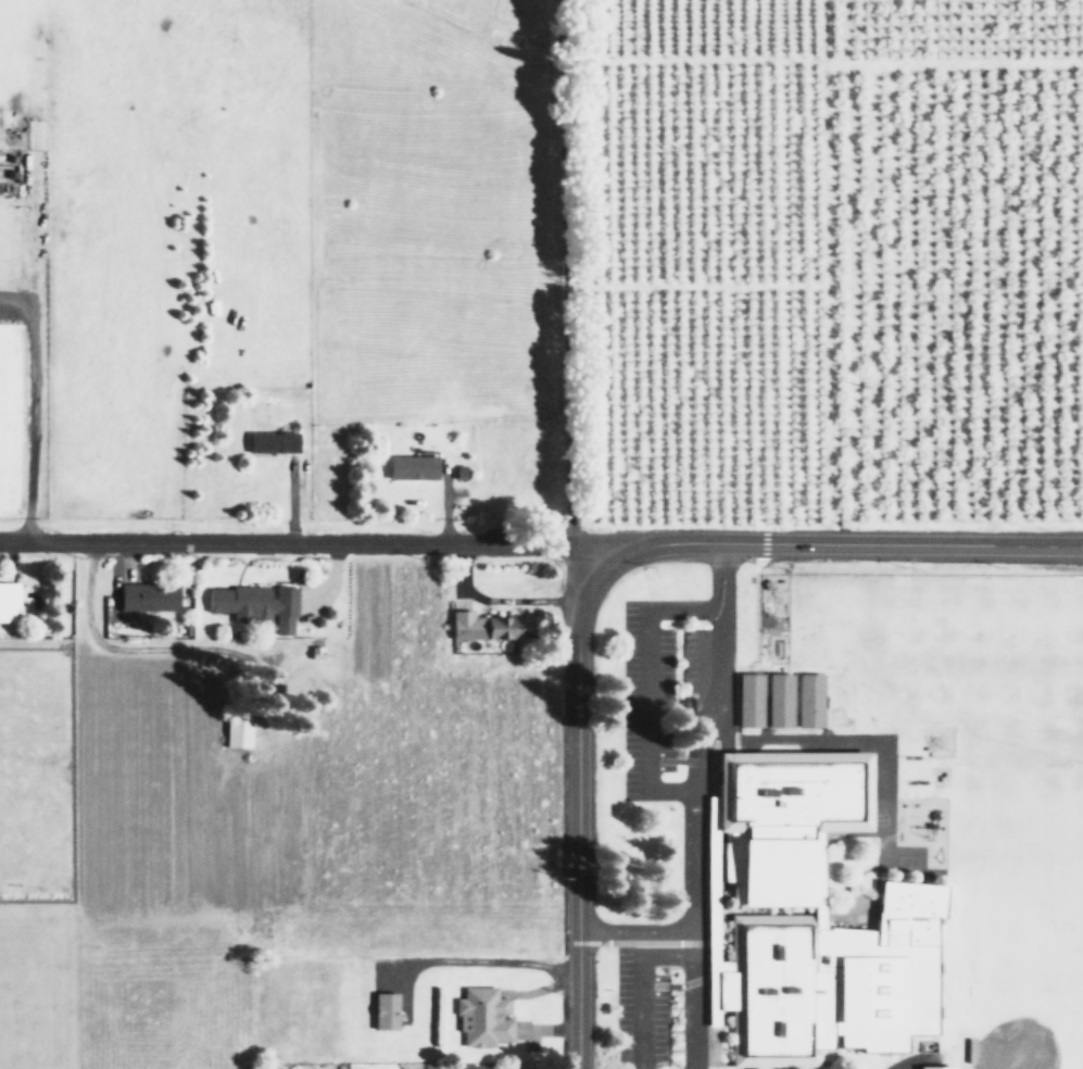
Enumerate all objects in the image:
road: (563, 274)
road: (29, 412)
building: (268, 440)
building: (408, 467)
road: (302, 541)
road: (838, 541)
building: (143, 596)
building: (4, 602)
building: (250, 603)
building: (478, 626)
park: (984, 658)
road: (642, 684)
building: (777, 701)
building: (808, 701)
building: (746, 702)
building: (234, 731)
road: (691, 801)
road: (578, 814)
park: (1028, 885)
building: (809, 921)
road: (635, 930)
road: (501, 961)
park: (1021, 994)
road: (634, 999)
building: (383, 1010)
building: (481, 1017)
building: (467, 1067)
building: (934, 1067)

